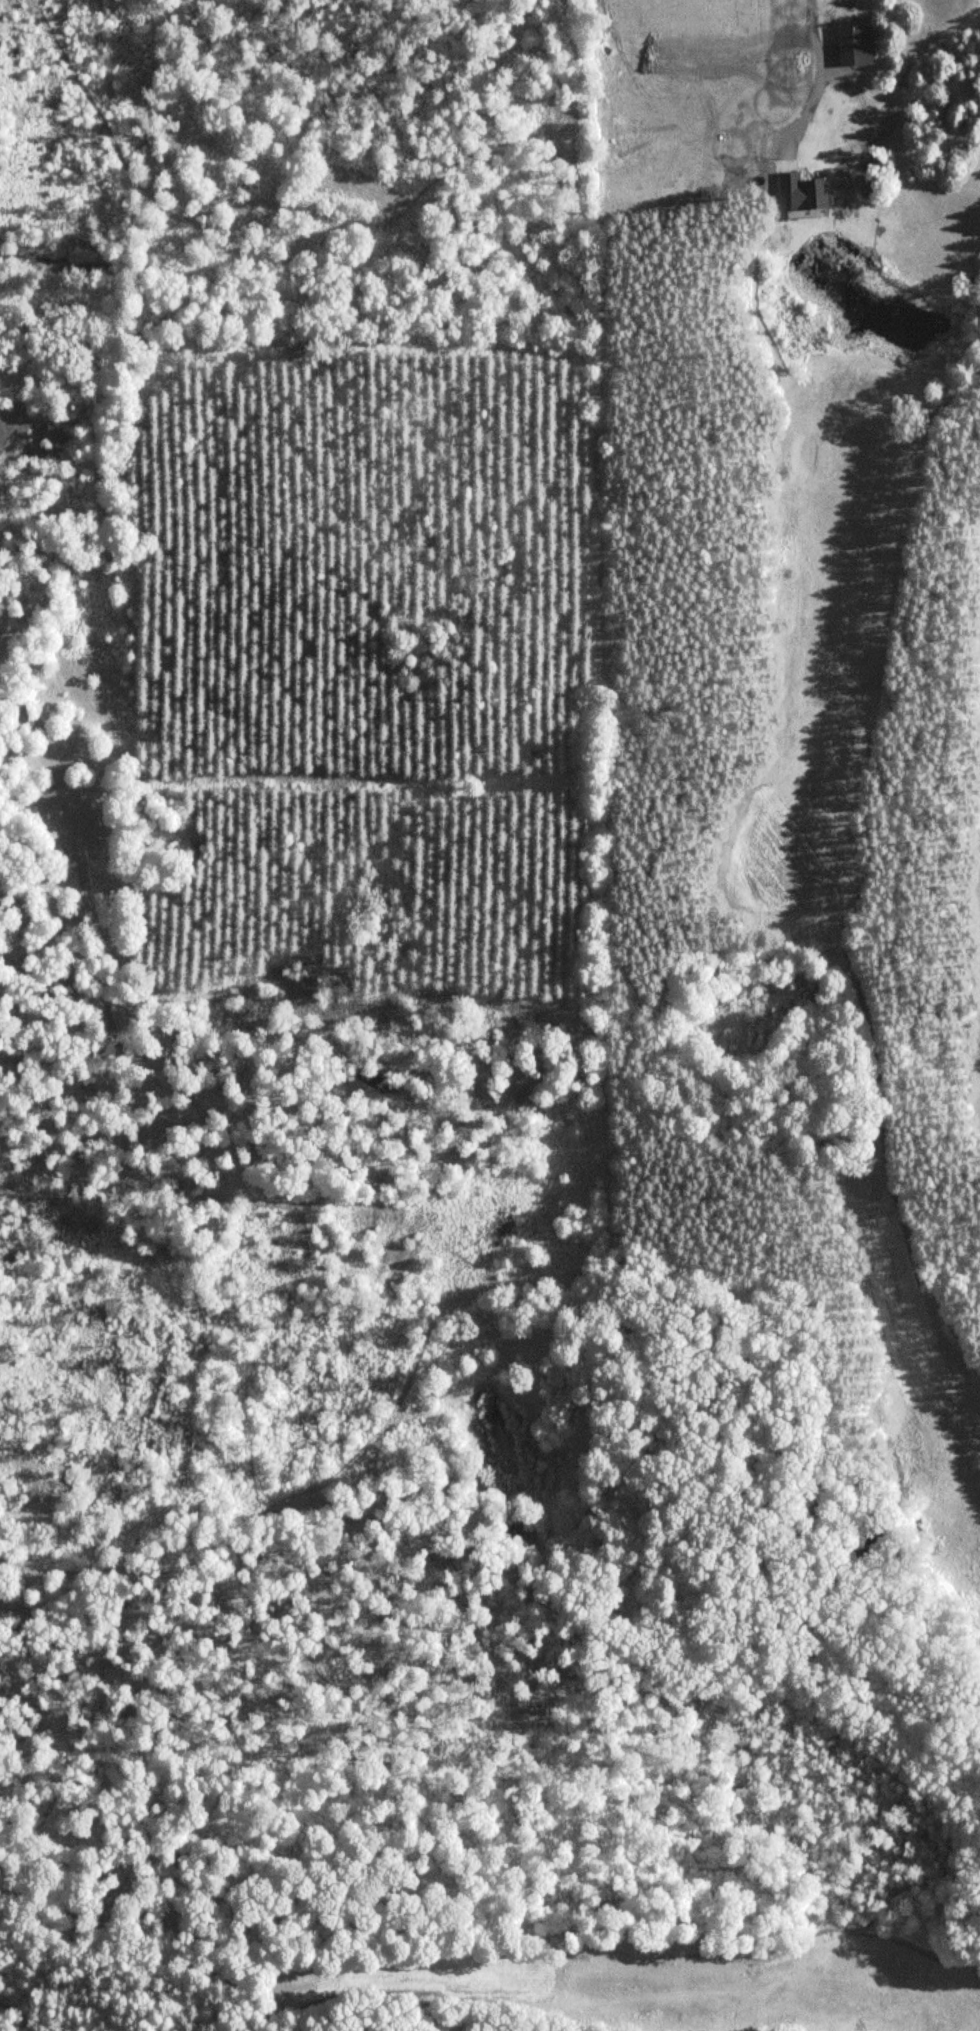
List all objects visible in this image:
building: (856, 45)
building: (804, 191)
park: (864, 827)
park: (467, 1952)

